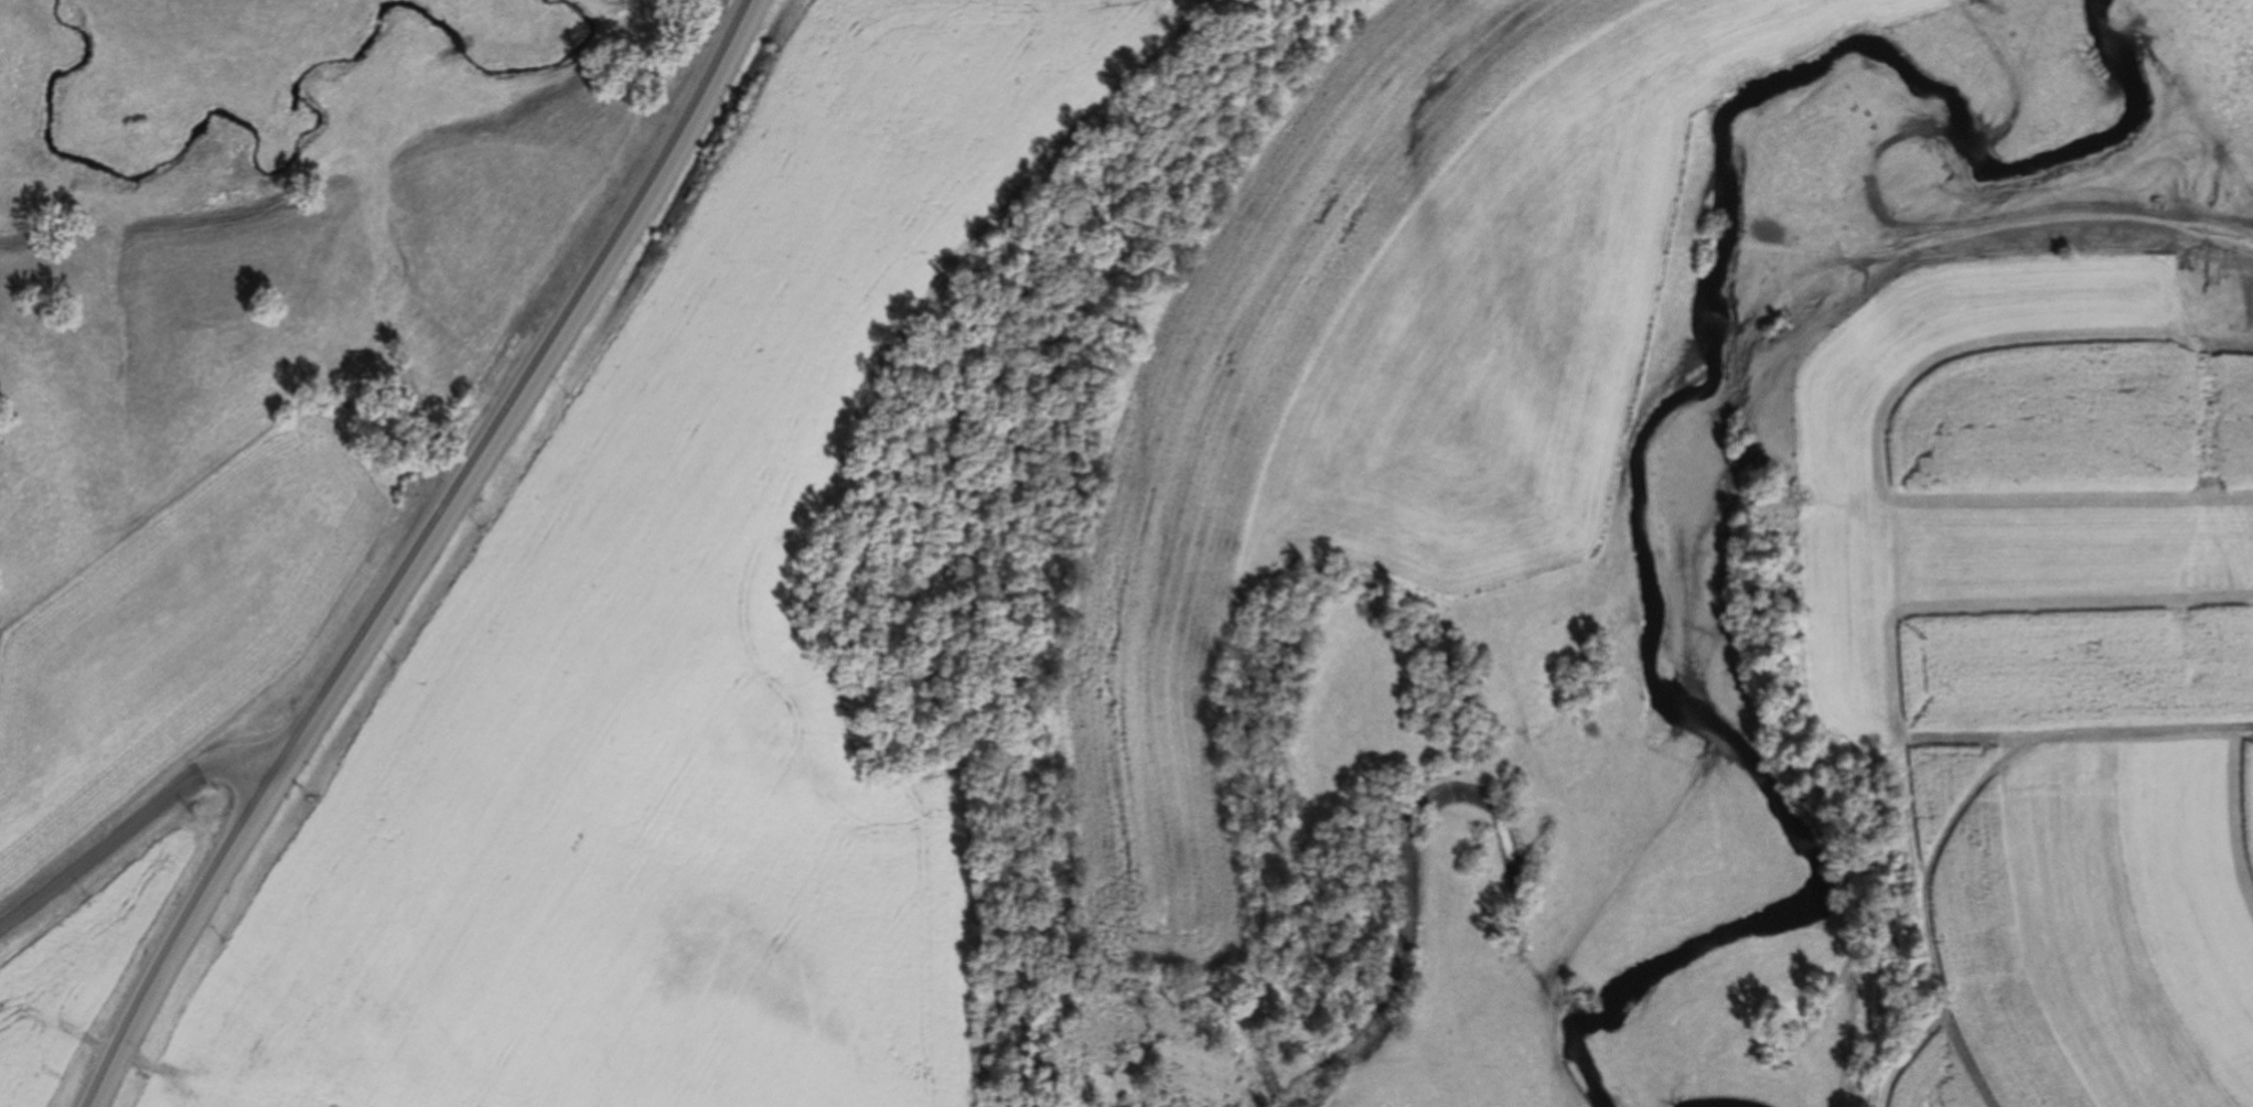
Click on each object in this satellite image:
road: (419, 551)
road: (128, 839)

